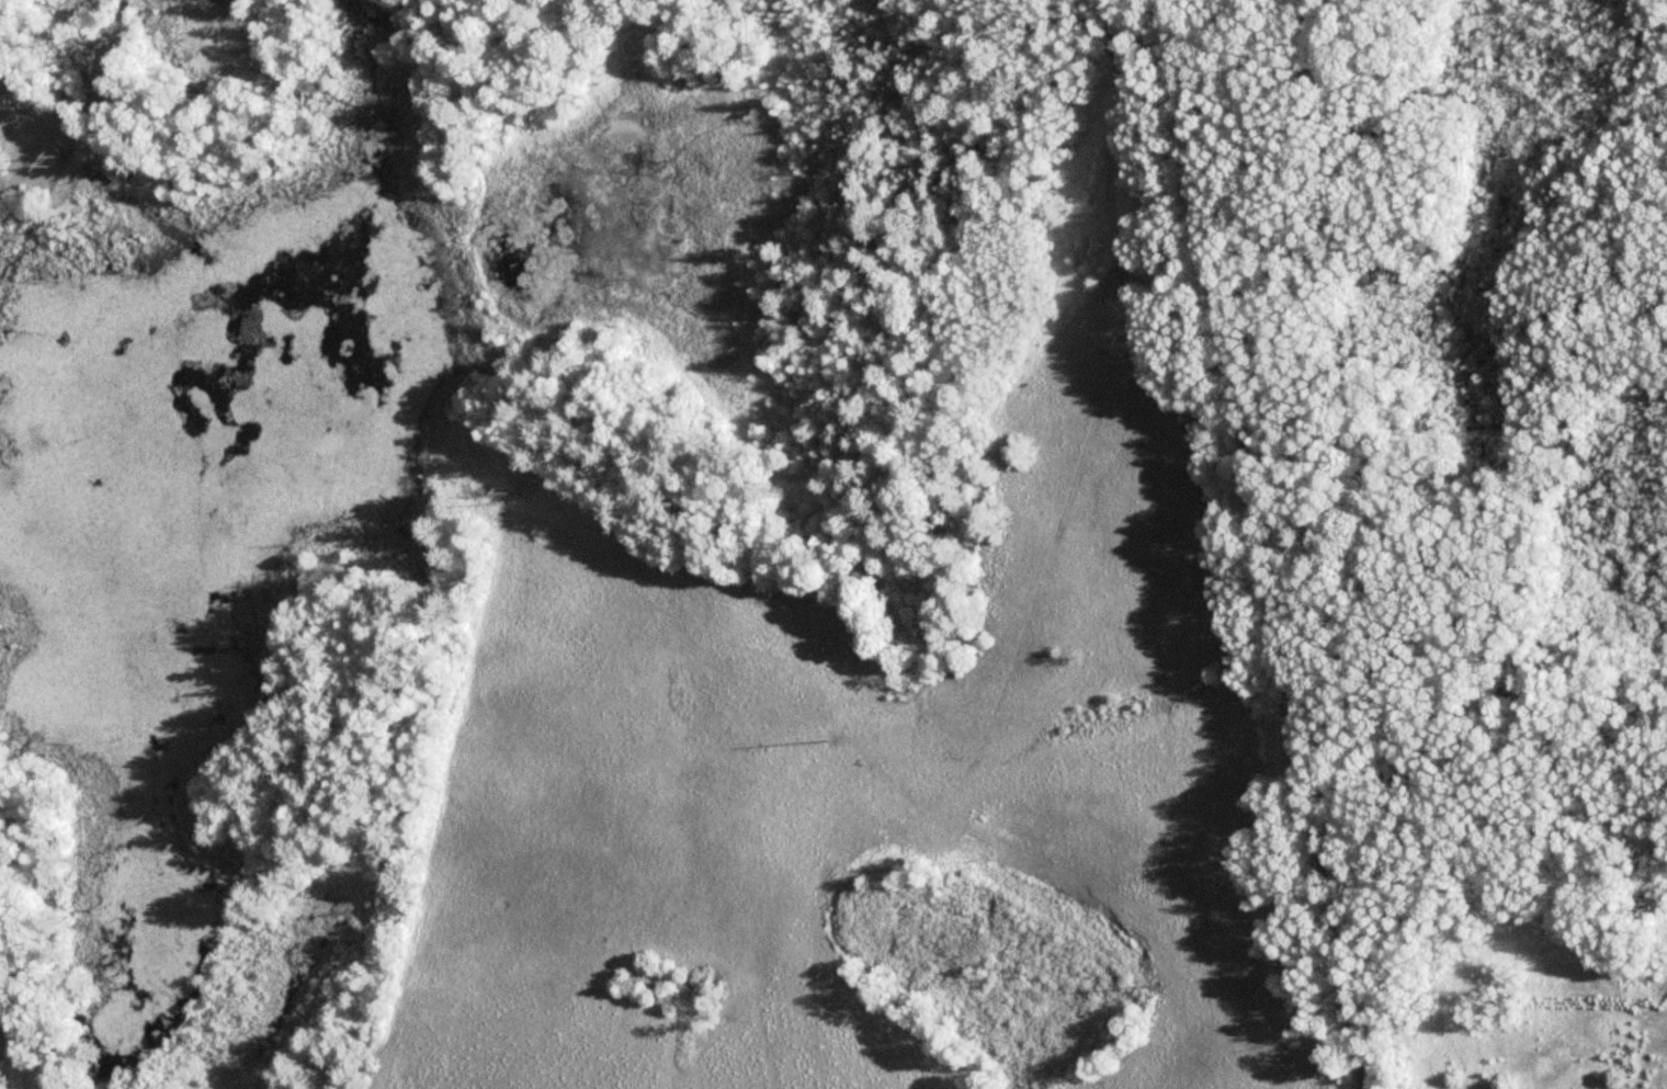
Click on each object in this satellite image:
road: (1261, 544)

